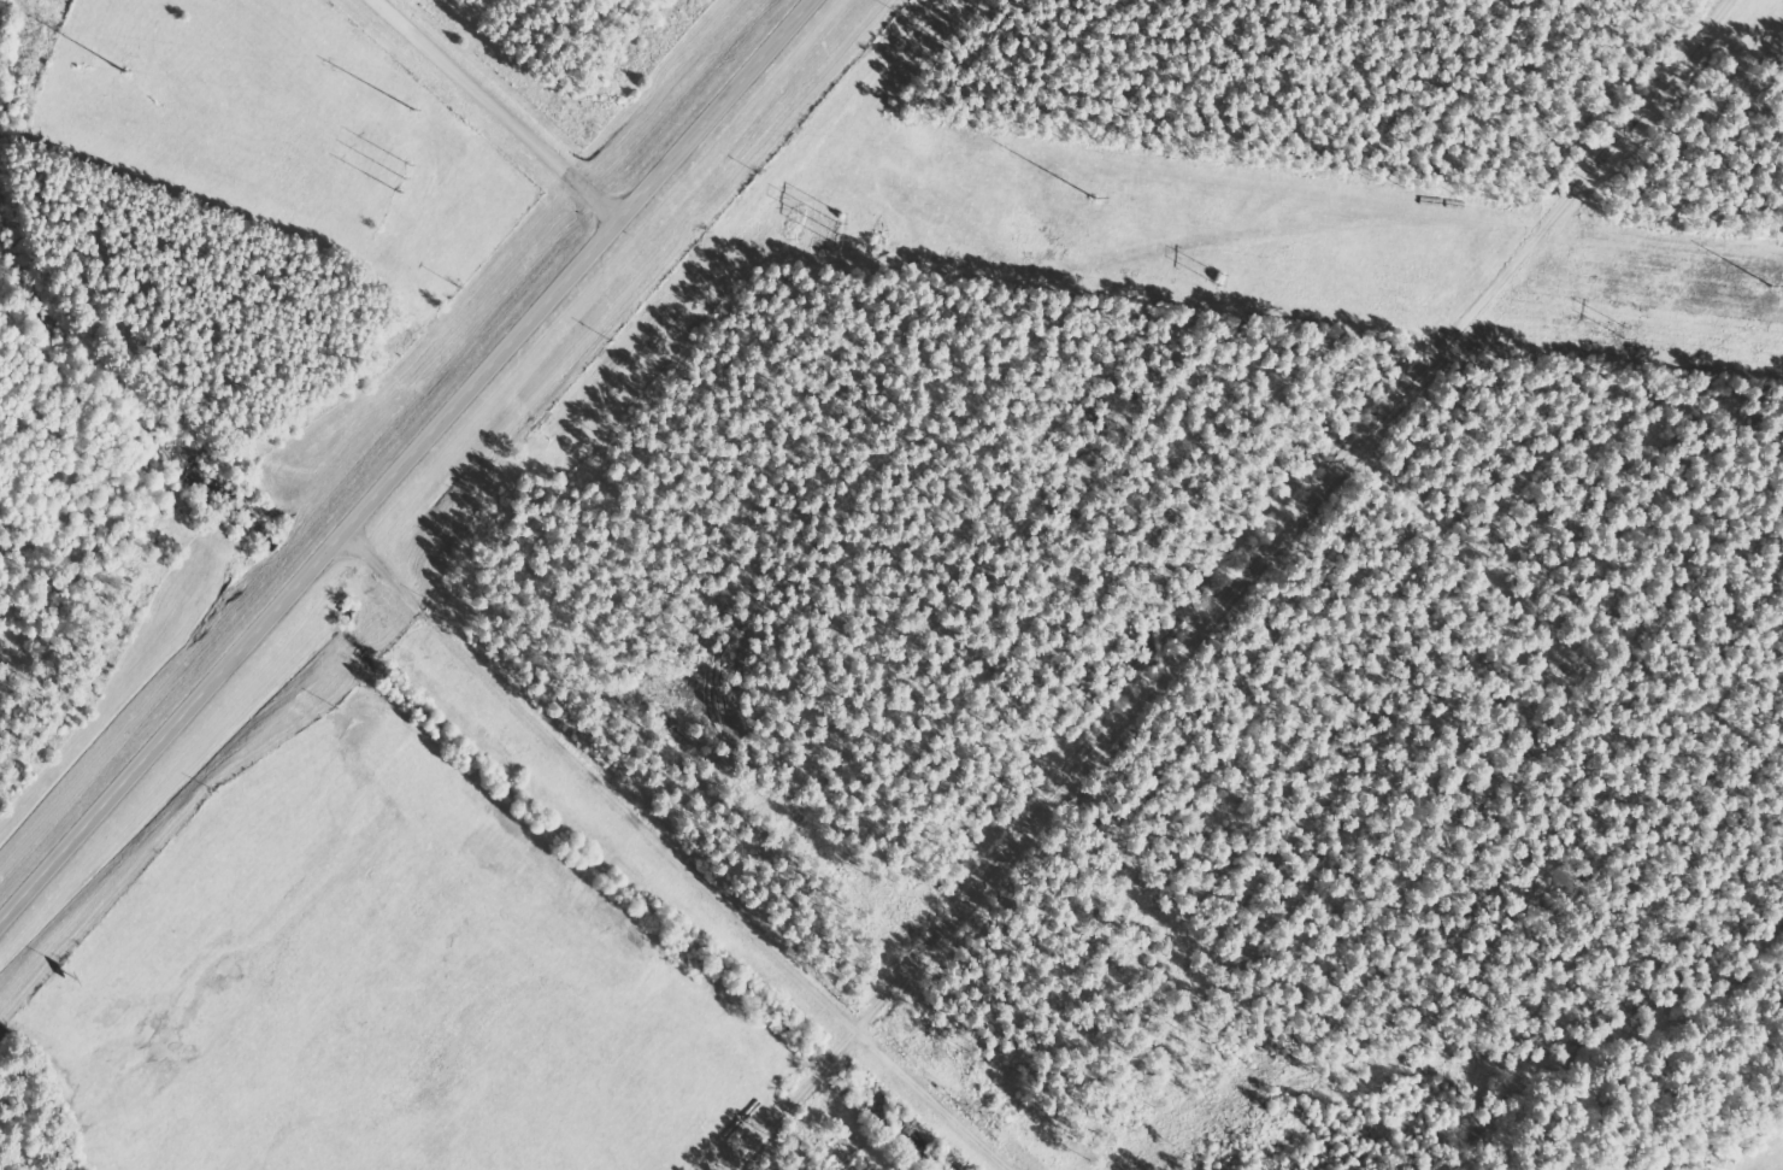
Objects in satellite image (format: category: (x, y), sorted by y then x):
power tower: (135, 70)
power tower: (410, 107)
road: (495, 108)
power tower: (1126, 194)
road: (405, 460)

